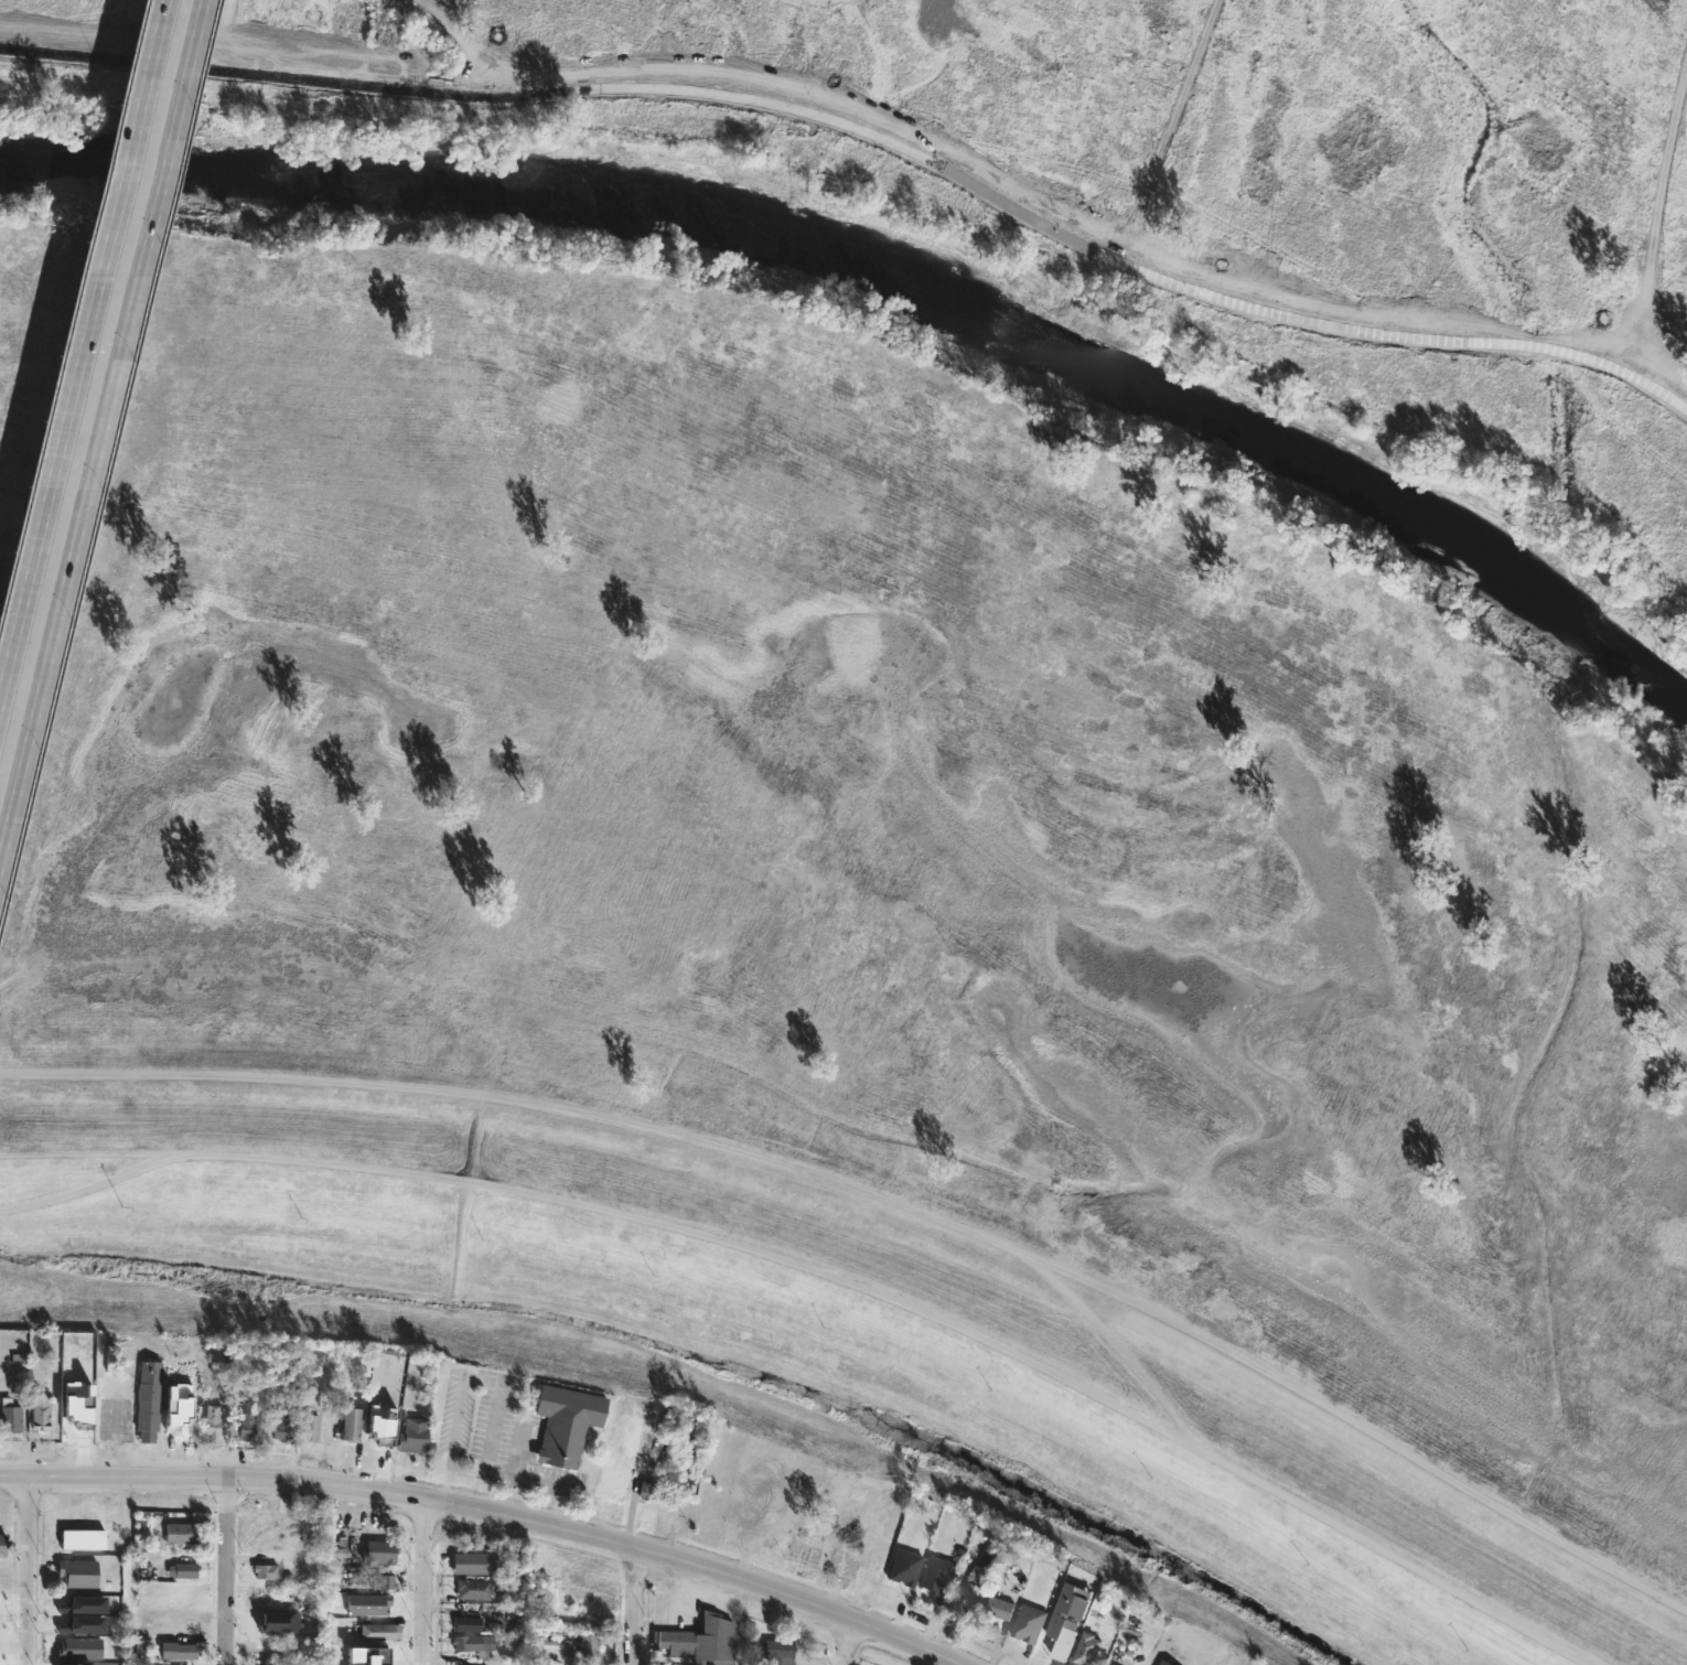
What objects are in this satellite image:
road: (147, 74)
road: (186, 78)
river: (890, 286)
road: (65, 420)
road: (84, 507)
park: (887, 750)
road: (88, 1188)
road: (884, 1210)
road: (705, 1233)
road: (1115, 1345)
road: (483, 1383)
building: (152, 1395)
building: (43, 1411)
building: (78, 1412)
building: (12, 1415)
building: (180, 1416)
building: (215, 1419)
building: (565, 1422)
building: (249, 1424)
building: (355, 1424)
building: (316, 1427)
building: (282, 1429)
building: (416, 1436)
road: (541, 1475)
building: (659, 1489)
road: (495, 1512)
building: (184, 1533)
building: (66, 1535)
building: (4, 1544)
building: (383, 1550)
road: (1396, 1555)
building: (472, 1561)
building: (901, 1565)
building: (184, 1569)
road: (29, 1570)
road: (228, 1570)
building: (268, 1571)
building: (78, 1572)
building: (934, 1572)
road: (425, 1581)
building: (385, 1582)
building: (475, 1588)
building: (969, 1594)
building: (272, 1597)
building: (372, 1602)
building: (87, 1603)
road: (634, 1604)
building: (996, 1608)
building: (1066, 1615)
building: (282, 1621)
building: (470, 1621)
building: (1025, 1623)
building: (88, 1624)
building: (189, 1625)
building: (383, 1633)
road: (845, 1639)
building: (702, 1640)
building: (475, 1644)
building: (591, 1647)
building: (78, 1648)
building: (179, 1650)
building: (781, 1651)
building: (1086, 1651)
building: (374, 1654)
building: (1163, 1662)
building: (78, 1664)
building: (477, 1664)

